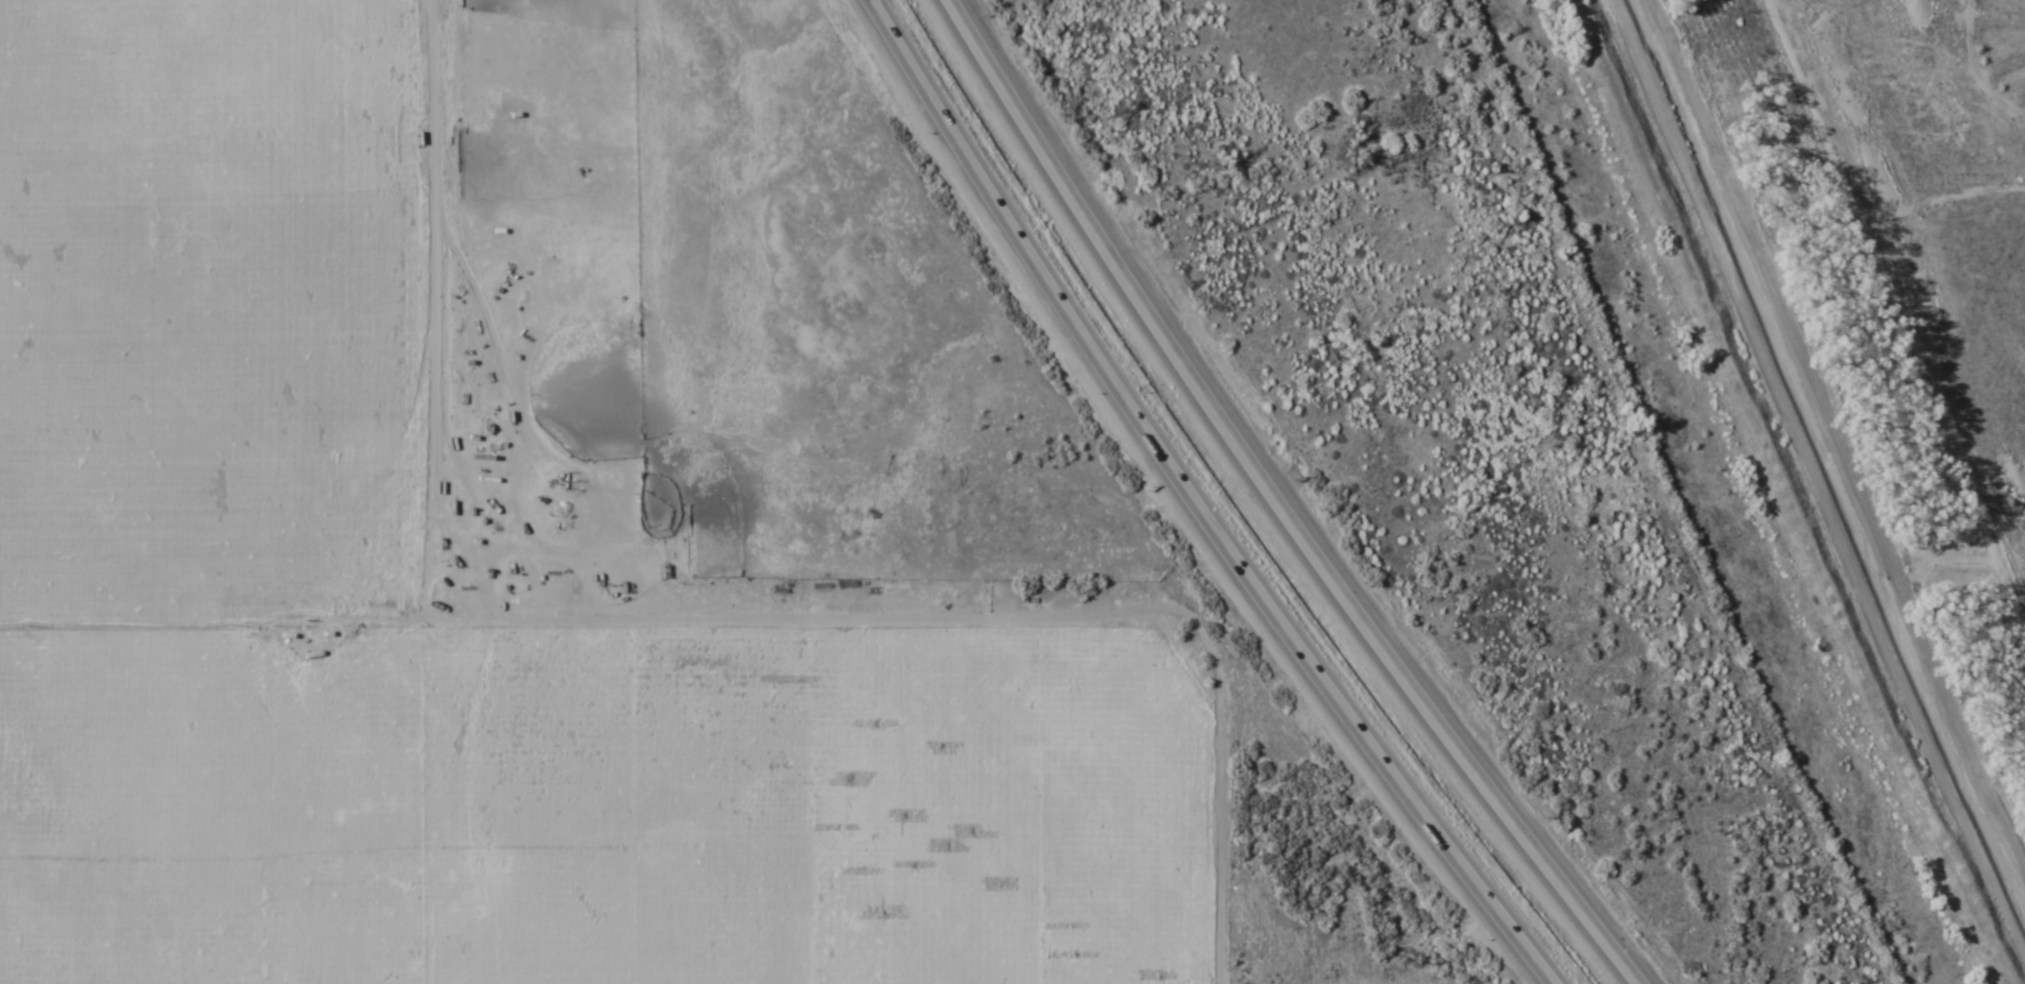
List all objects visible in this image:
road: (450, 282)
crop: (1666, 406)
road: (1812, 493)
road: (1193, 504)
road: (1283, 504)
crop: (588, 542)

